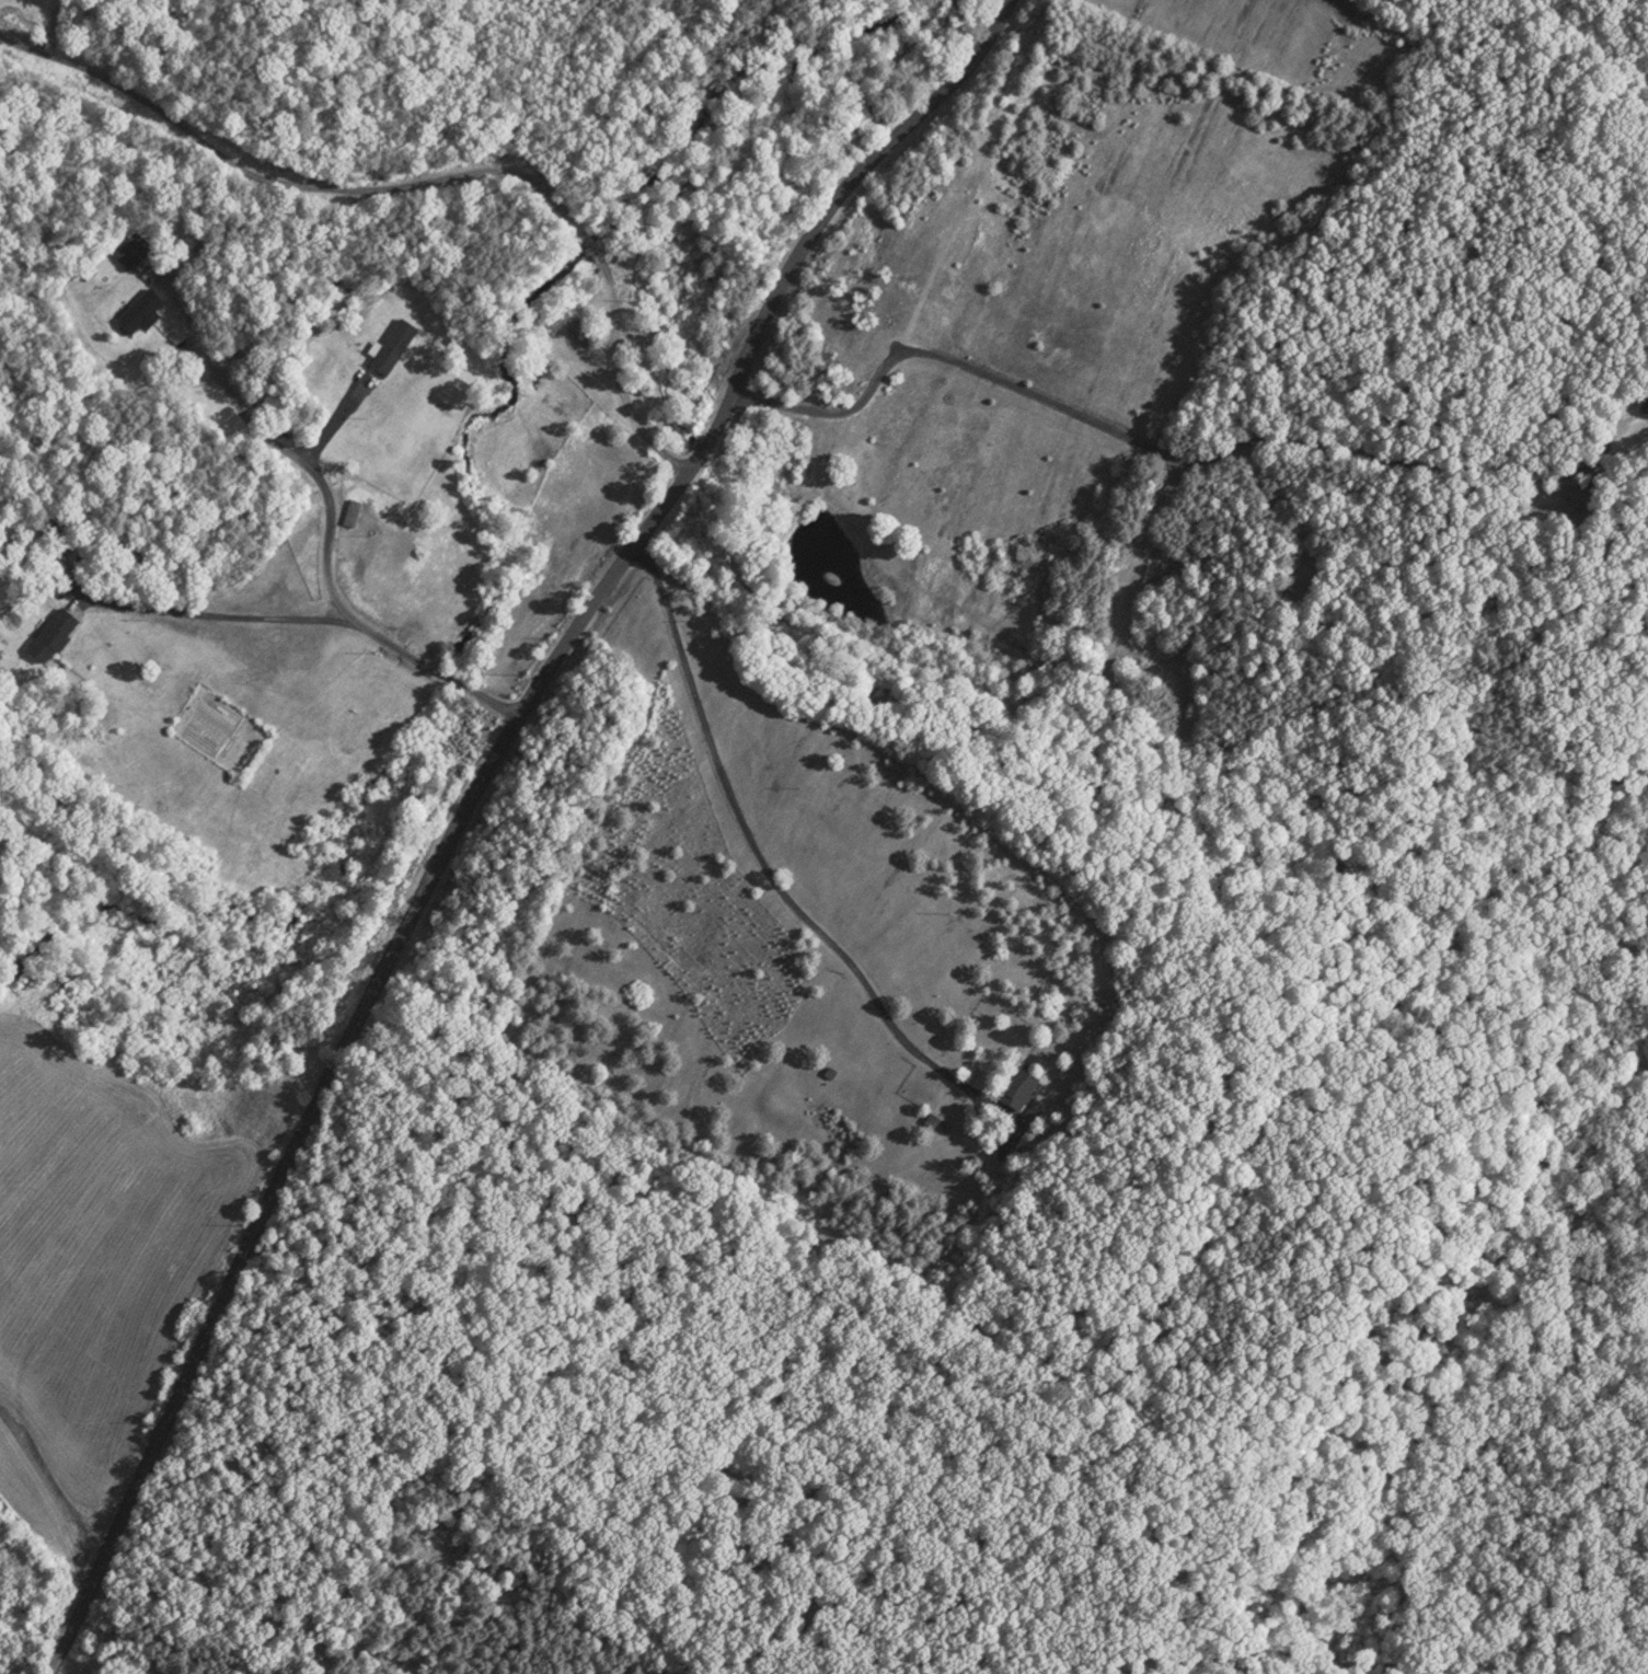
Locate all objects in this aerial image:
road: (611, 95)
road: (289, 187)
building: (135, 249)
road: (592, 249)
building: (145, 310)
building: (396, 344)
road: (618, 376)
road: (719, 425)
road: (1125, 430)
road: (313, 469)
building: (1576, 493)
building: (354, 512)
road: (277, 616)
building: (55, 633)
road: (450, 677)
road: (488, 700)
road: (759, 852)
building: (1021, 1085)
road: (240, 1267)

